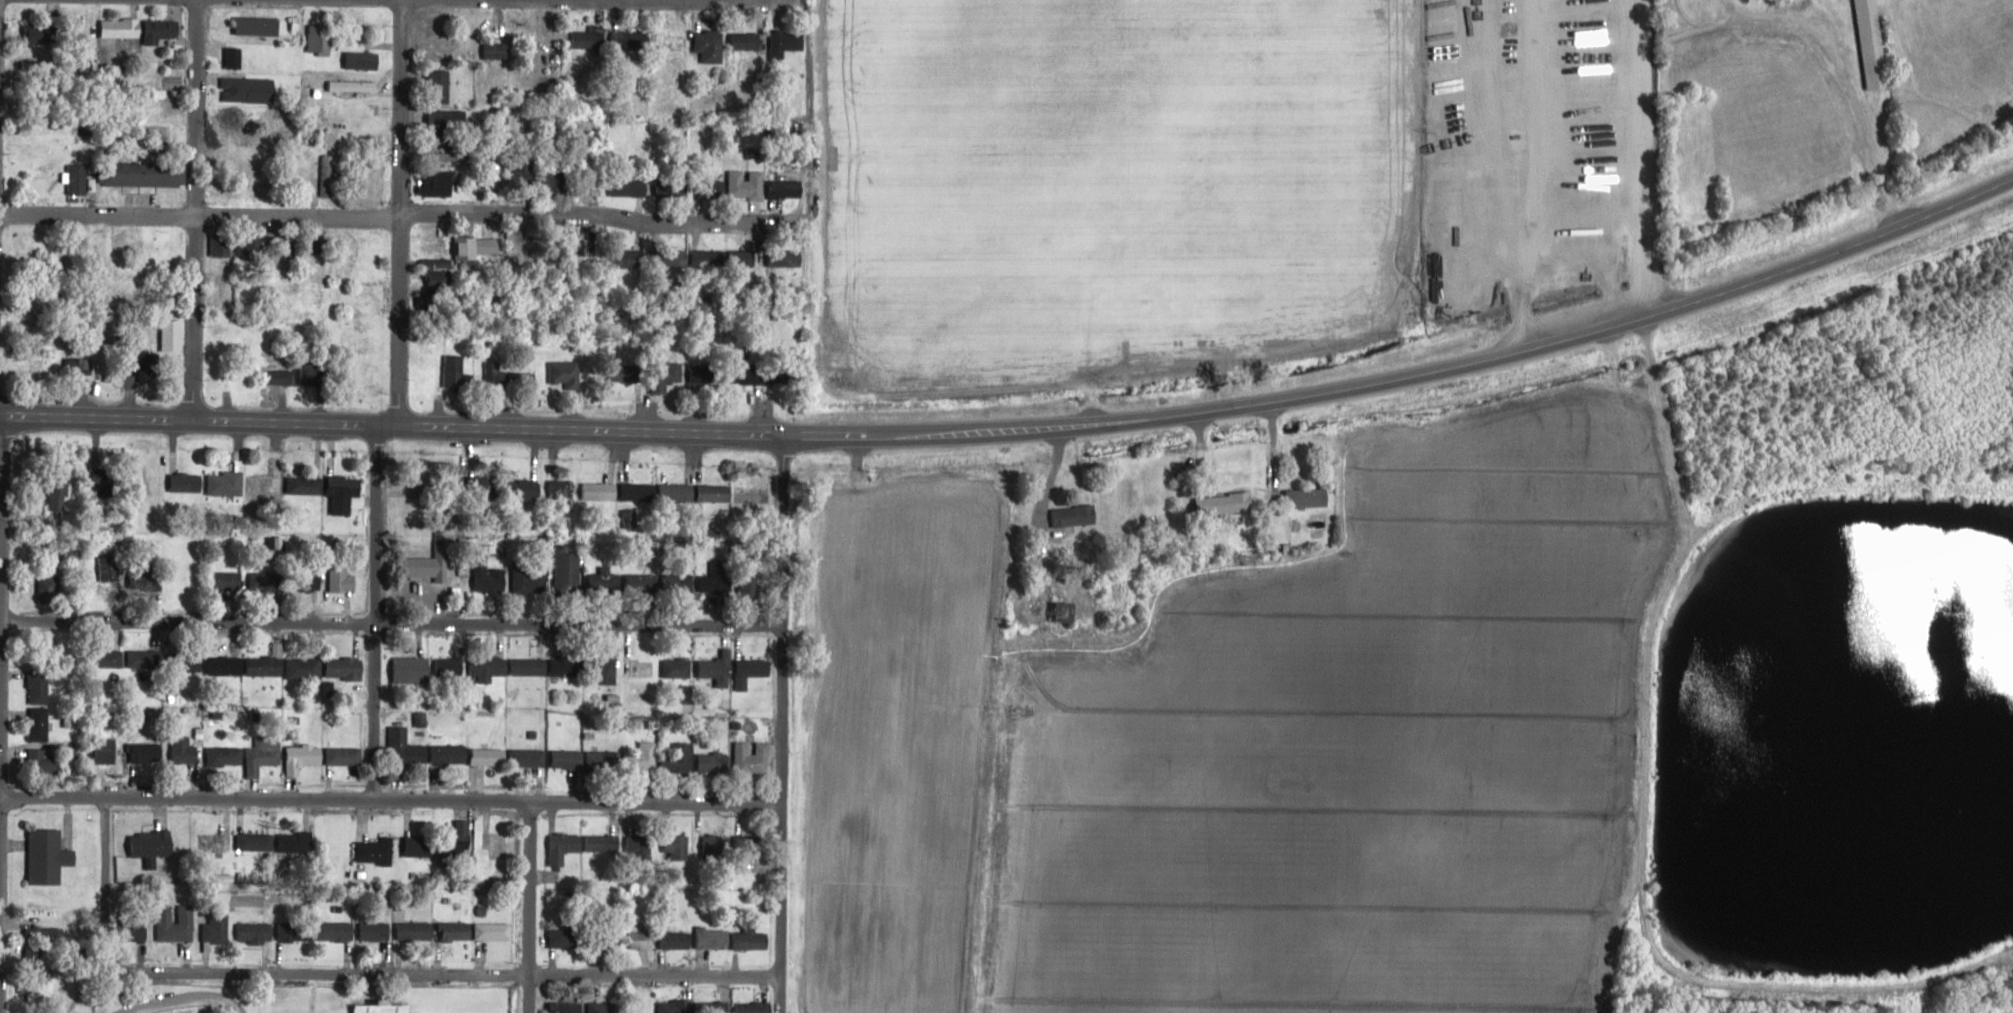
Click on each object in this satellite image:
road: (25, 1)
road: (660, 1)
building: (258, 25)
building: (121, 27)
building: (162, 29)
building: (38, 33)
building: (321, 38)
building: (589, 38)
building: (746, 40)
building: (1866, 44)
building: (710, 45)
building: (788, 45)
building: (234, 57)
building: (363, 60)
building: (31, 64)
building: (442, 85)
road: (1846, 85)
building: (352, 86)
building: (246, 89)
building: (235, 116)
building: (442, 136)
road: (1643, 160)
building: (523, 169)
building: (142, 174)
building: (492, 176)
building: (556, 180)
building: (438, 182)
building: (755, 184)
building: (713, 185)
building: (630, 187)
building: (674, 187)
building: (788, 188)
road: (195, 210)
road: (401, 212)
road: (389, 214)
building: (525, 241)
building: (584, 243)
building: (220, 244)
building: (287, 244)
building: (251, 246)
building: (468, 247)
building: (787, 257)
building: (629, 258)
building: (672, 258)
building: (730, 258)
building: (440, 272)
building: (172, 335)
building: (219, 337)
building: (79, 365)
building: (28, 367)
building: (458, 371)
building: (627, 371)
building: (315, 373)
building: (498, 373)
building: (565, 373)
building: (707, 373)
building: (755, 373)
building: (666, 374)
road: (1413, 375)
building: (279, 376)
road: (392, 426)
building: (187, 482)
building: (269, 482)
building: (226, 484)
building: (308, 486)
building: (528, 490)
building: (599, 491)
building: (640, 491)
road: (1751, 491)
building: (677, 492)
building: (344, 493)
building: (562, 493)
building: (715, 493)
building: (60, 494)
building: (1302, 497)
building: (1217, 503)
building: (1060, 516)
building: (430, 563)
building: (109, 568)
building: (567, 569)
building: (312, 577)
building: (528, 578)
building: (266, 579)
building: (342, 579)
building: (489, 579)
building: (226, 580)
building: (605, 581)
building: (644, 582)
building: (750, 584)
building: (50, 589)
building: (1054, 611)
road: (373, 614)
road: (390, 626)
road: (1635, 655)
building: (109, 657)
building: (145, 658)
building: (226, 665)
building: (266, 665)
building: (488, 665)
building: (568, 665)
building: (450, 666)
building: (529, 666)
building: (345, 667)
building: (715, 667)
building: (305, 668)
building: (677, 668)
building: (411, 669)
building: (608, 669)
building: (752, 670)
building: (39, 686)
building: (39, 723)
road: (779, 723)
building: (105, 750)
building: (184, 750)
building: (423, 750)
building: (147, 751)
building: (263, 754)
building: (224, 755)
building: (302, 755)
building: (344, 756)
building: (489, 756)
building: (528, 757)
building: (752, 757)
building: (43, 758)
building: (567, 758)
building: (644, 758)
building: (679, 758)
building: (603, 761)
building: (714, 762)
road: (388, 803)
building: (211, 842)
building: (255, 842)
building: (151, 843)
building: (298, 843)
building: (604, 843)
building: (496, 845)
building: (640, 845)
building: (419, 846)
building: (715, 846)
building: (564, 847)
building: (677, 847)
building: (455, 849)
building: (376, 851)
building: (48, 856)
road: (530, 908)
building: (175, 923)
building: (215, 929)
building: (295, 931)
building: (336, 931)
building: (375, 931)
building: (416, 931)
building: (457, 931)
building: (493, 931)
building: (255, 932)
building: (567, 938)
building: (752, 938)
building: (714, 939)
building: (641, 940)
building: (677, 940)
building: (36, 953)
road: (361, 973)
building: (37, 991)
building: (567, 1006)
building: (676, 1006)
building: (714, 1006)
building: (755, 1007)
building: (382, 1008)

